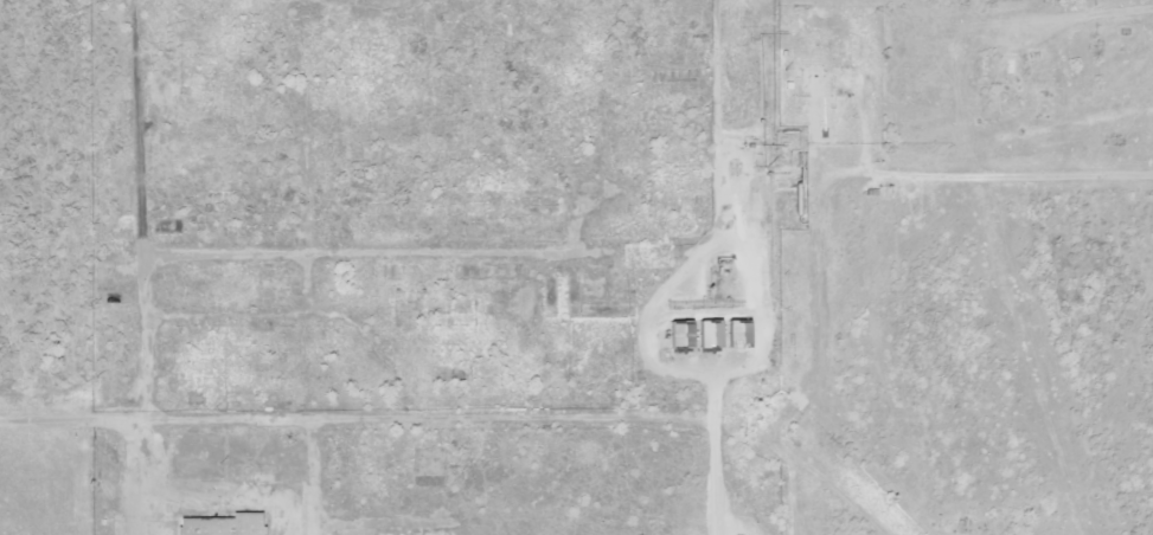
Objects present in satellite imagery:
building: (985, 70)
building: (729, 334)
building: (702, 335)
building: (656, 342)
building: (648, 444)
building: (429, 468)
building: (218, 526)

